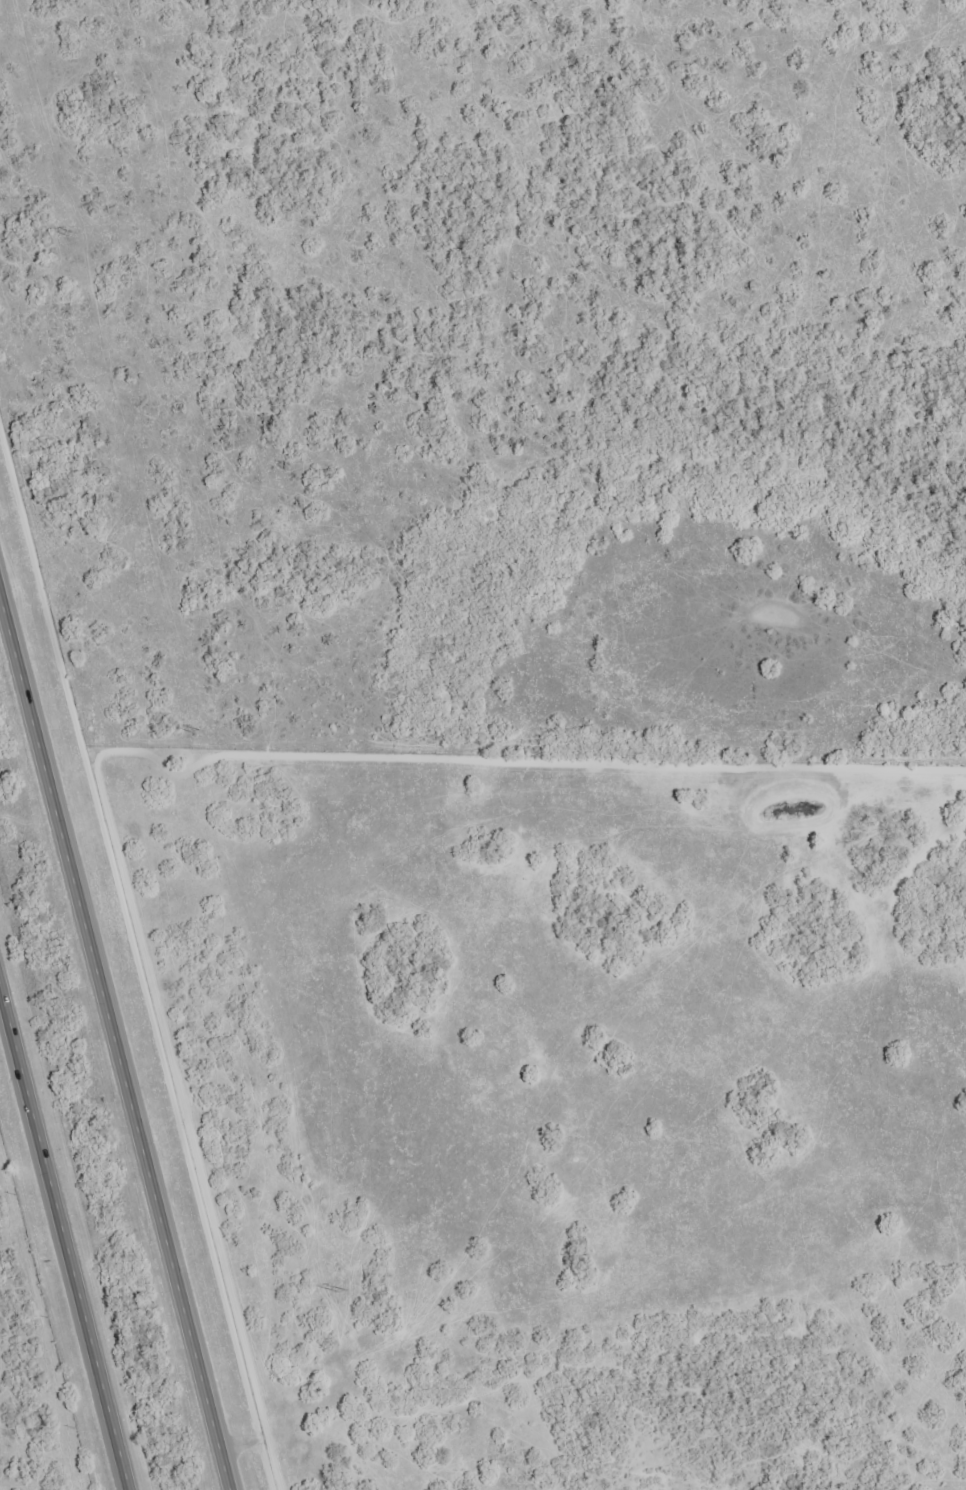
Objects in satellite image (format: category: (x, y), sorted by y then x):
power tower: (71, 233)
power tower: (198, 730)
road: (115, 1034)
road: (66, 1223)
power tower: (343, 1291)

